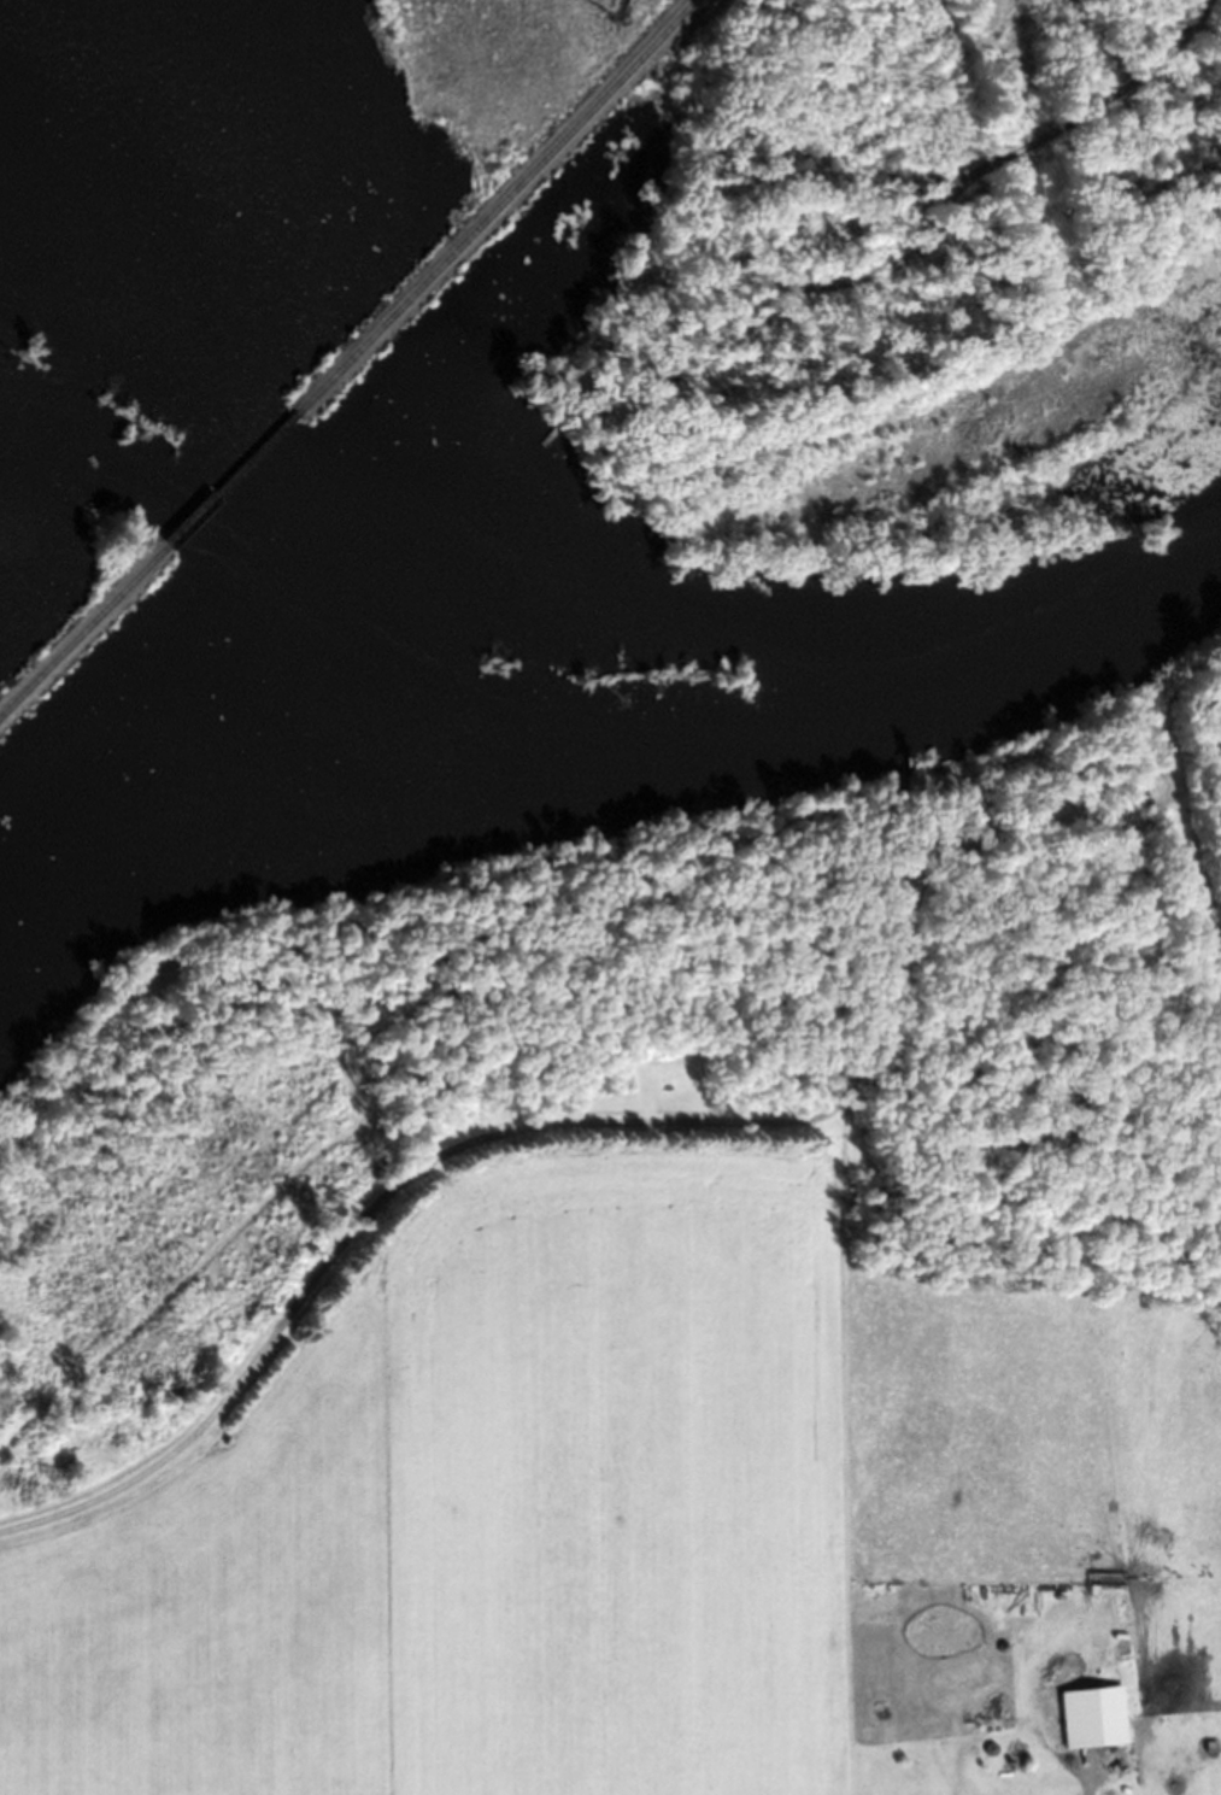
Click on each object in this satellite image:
railway: (497, 205)
railway: (241, 480)
river: (595, 586)
railway: (87, 637)
building: (1093, 1717)

